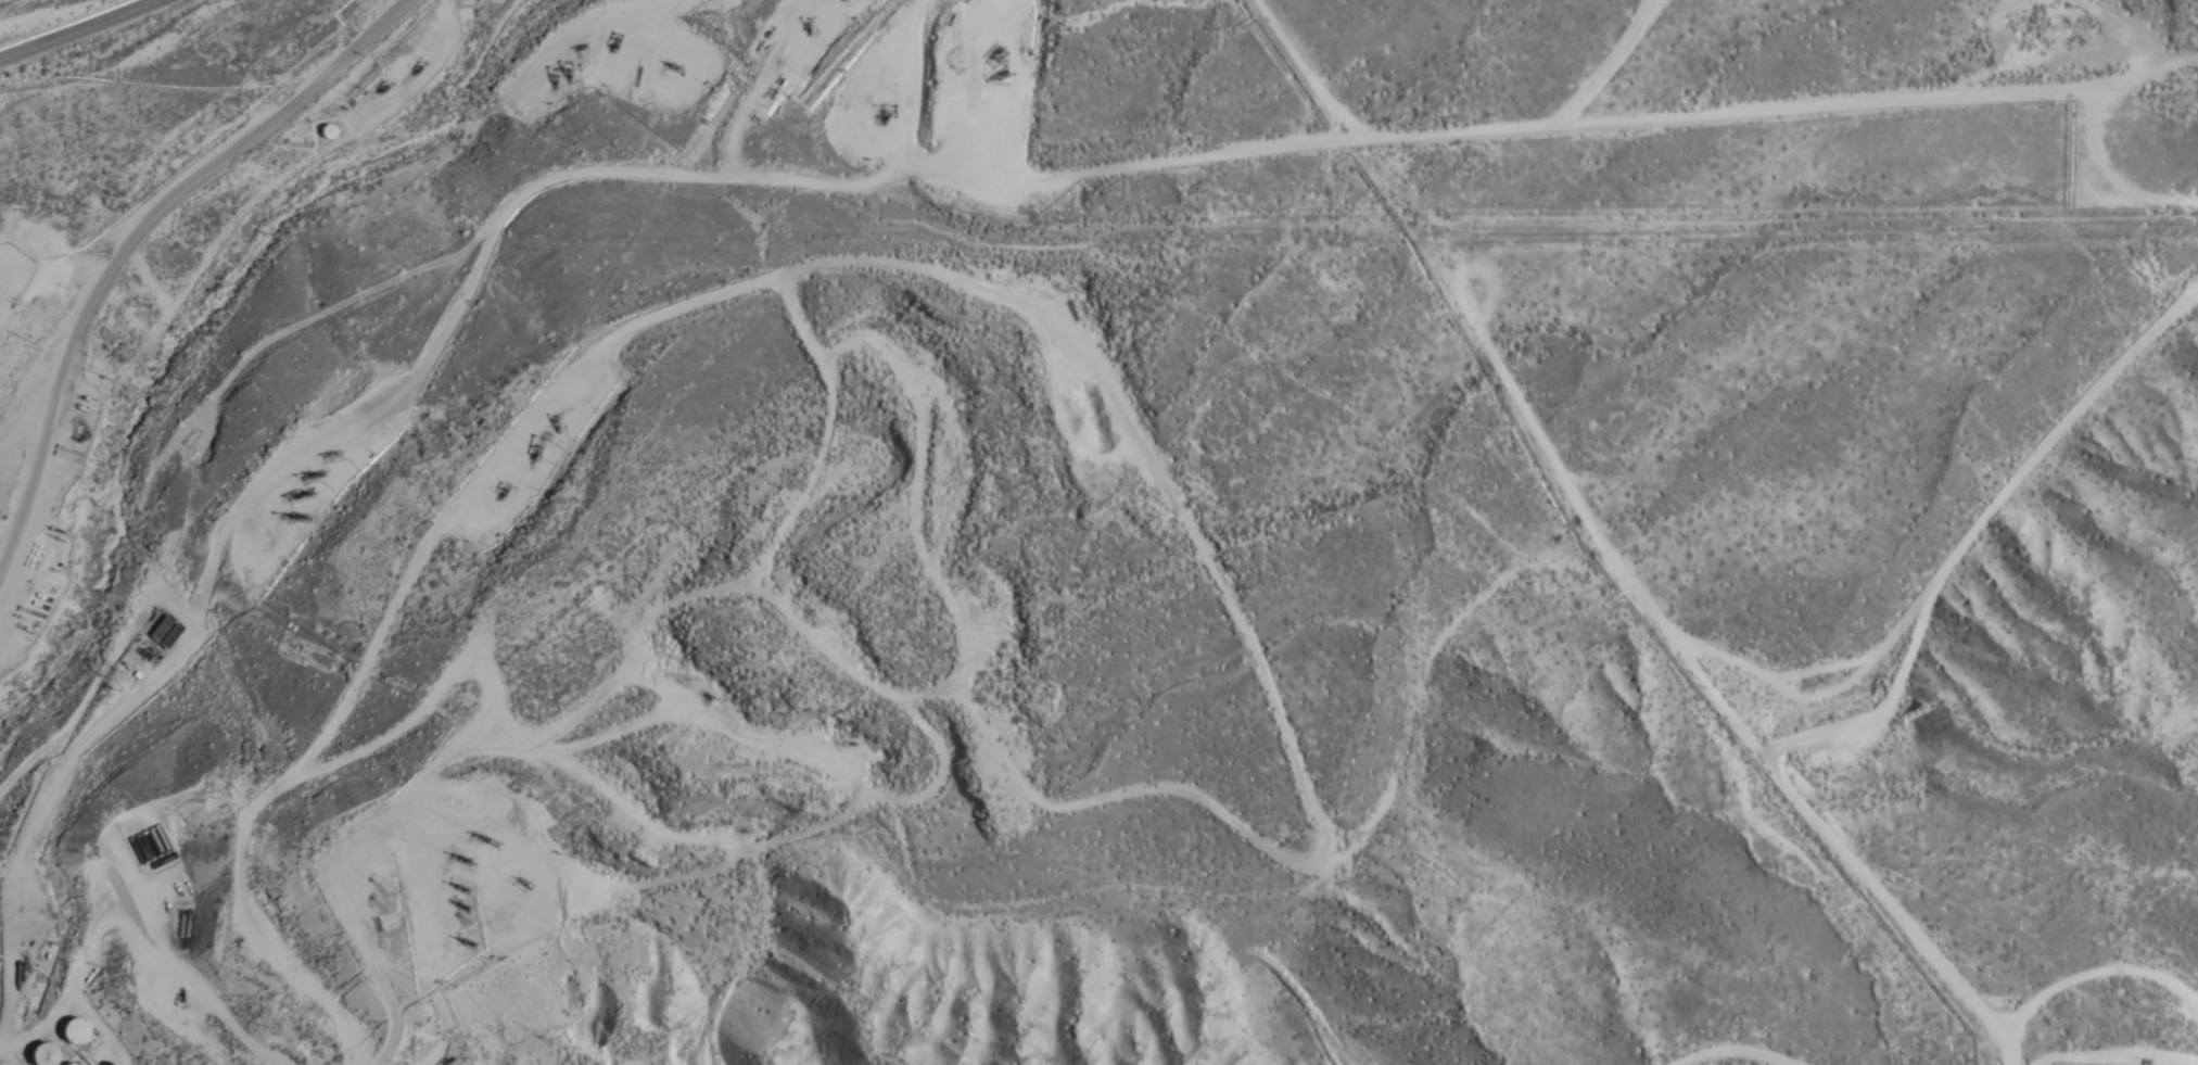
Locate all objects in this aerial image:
road: (84, 34)
road: (1610, 125)
road: (135, 245)
building: (0, 304)
building: (136, 319)
road: (123, 532)
building: (78, 1030)
building: (55, 1057)

